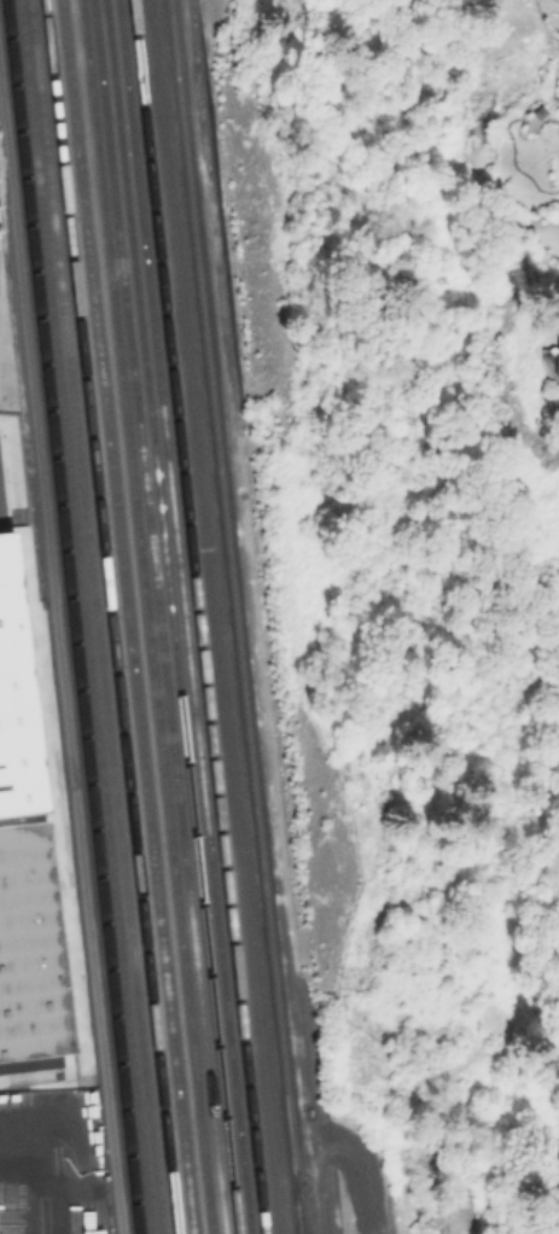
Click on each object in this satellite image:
building: (555, 347)
railway: (69, 617)
railway: (83, 617)
railway: (94, 617)
railway: (110, 617)
railway: (127, 617)
railway: (145, 617)
railway: (157, 617)
railway: (170, 617)
railway: (184, 617)
railway: (197, 617)
road: (211, 617)
railway: (234, 617)
building: (14, 703)
road: (64, 722)
building: (18, 817)
building: (29, 951)
road: (52, 1180)
railway: (297, 1206)

